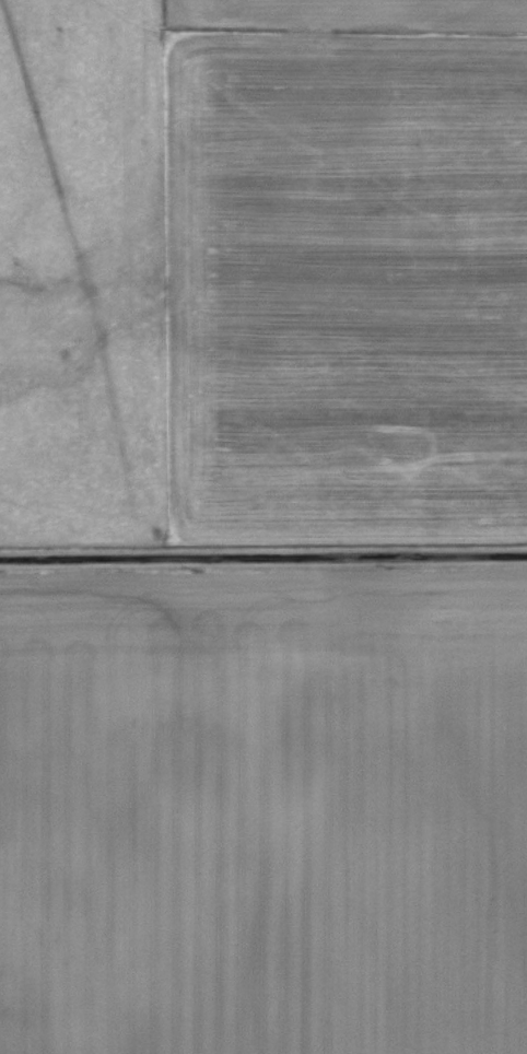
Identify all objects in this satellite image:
road: (263, 554)

